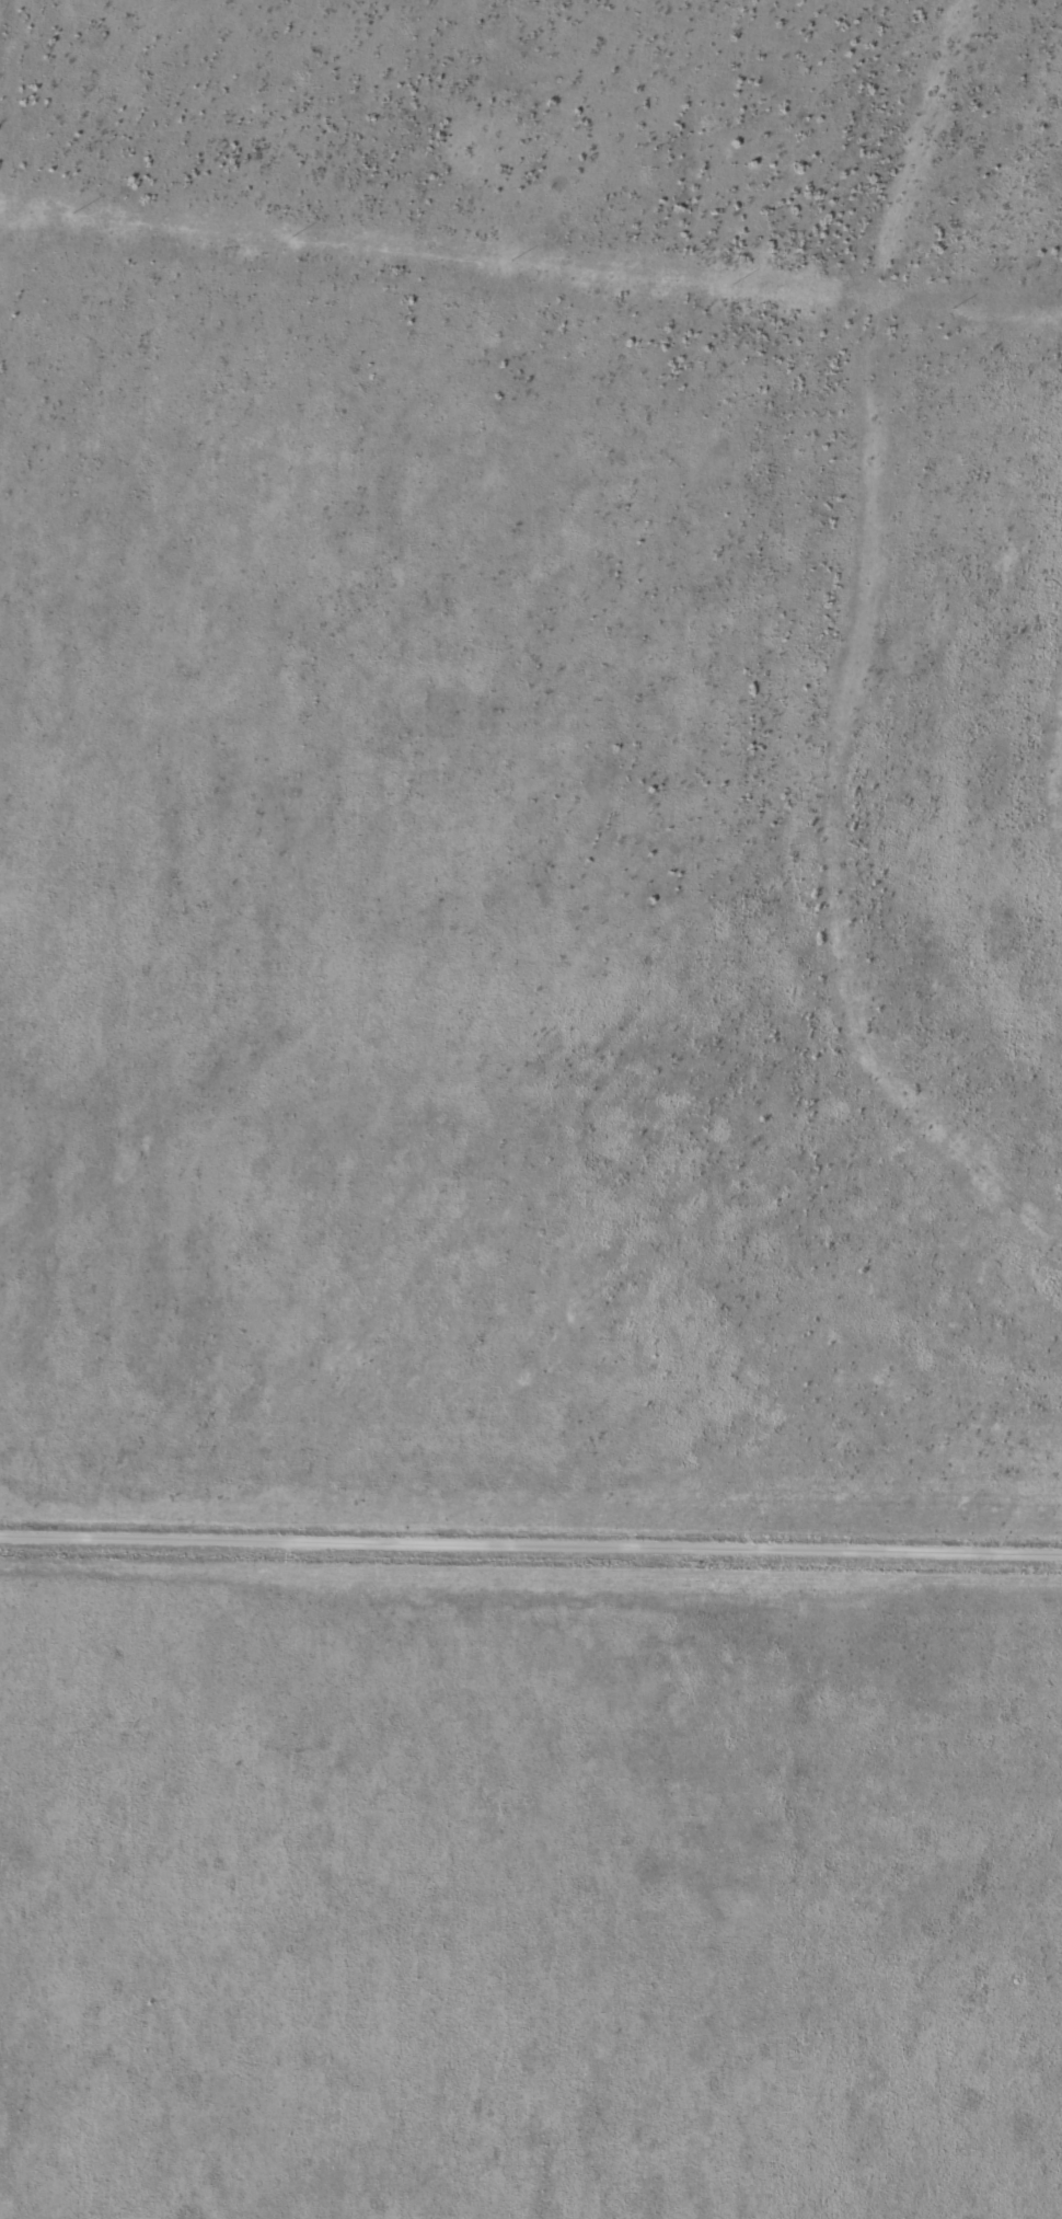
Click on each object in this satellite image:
road: (531, 1555)

